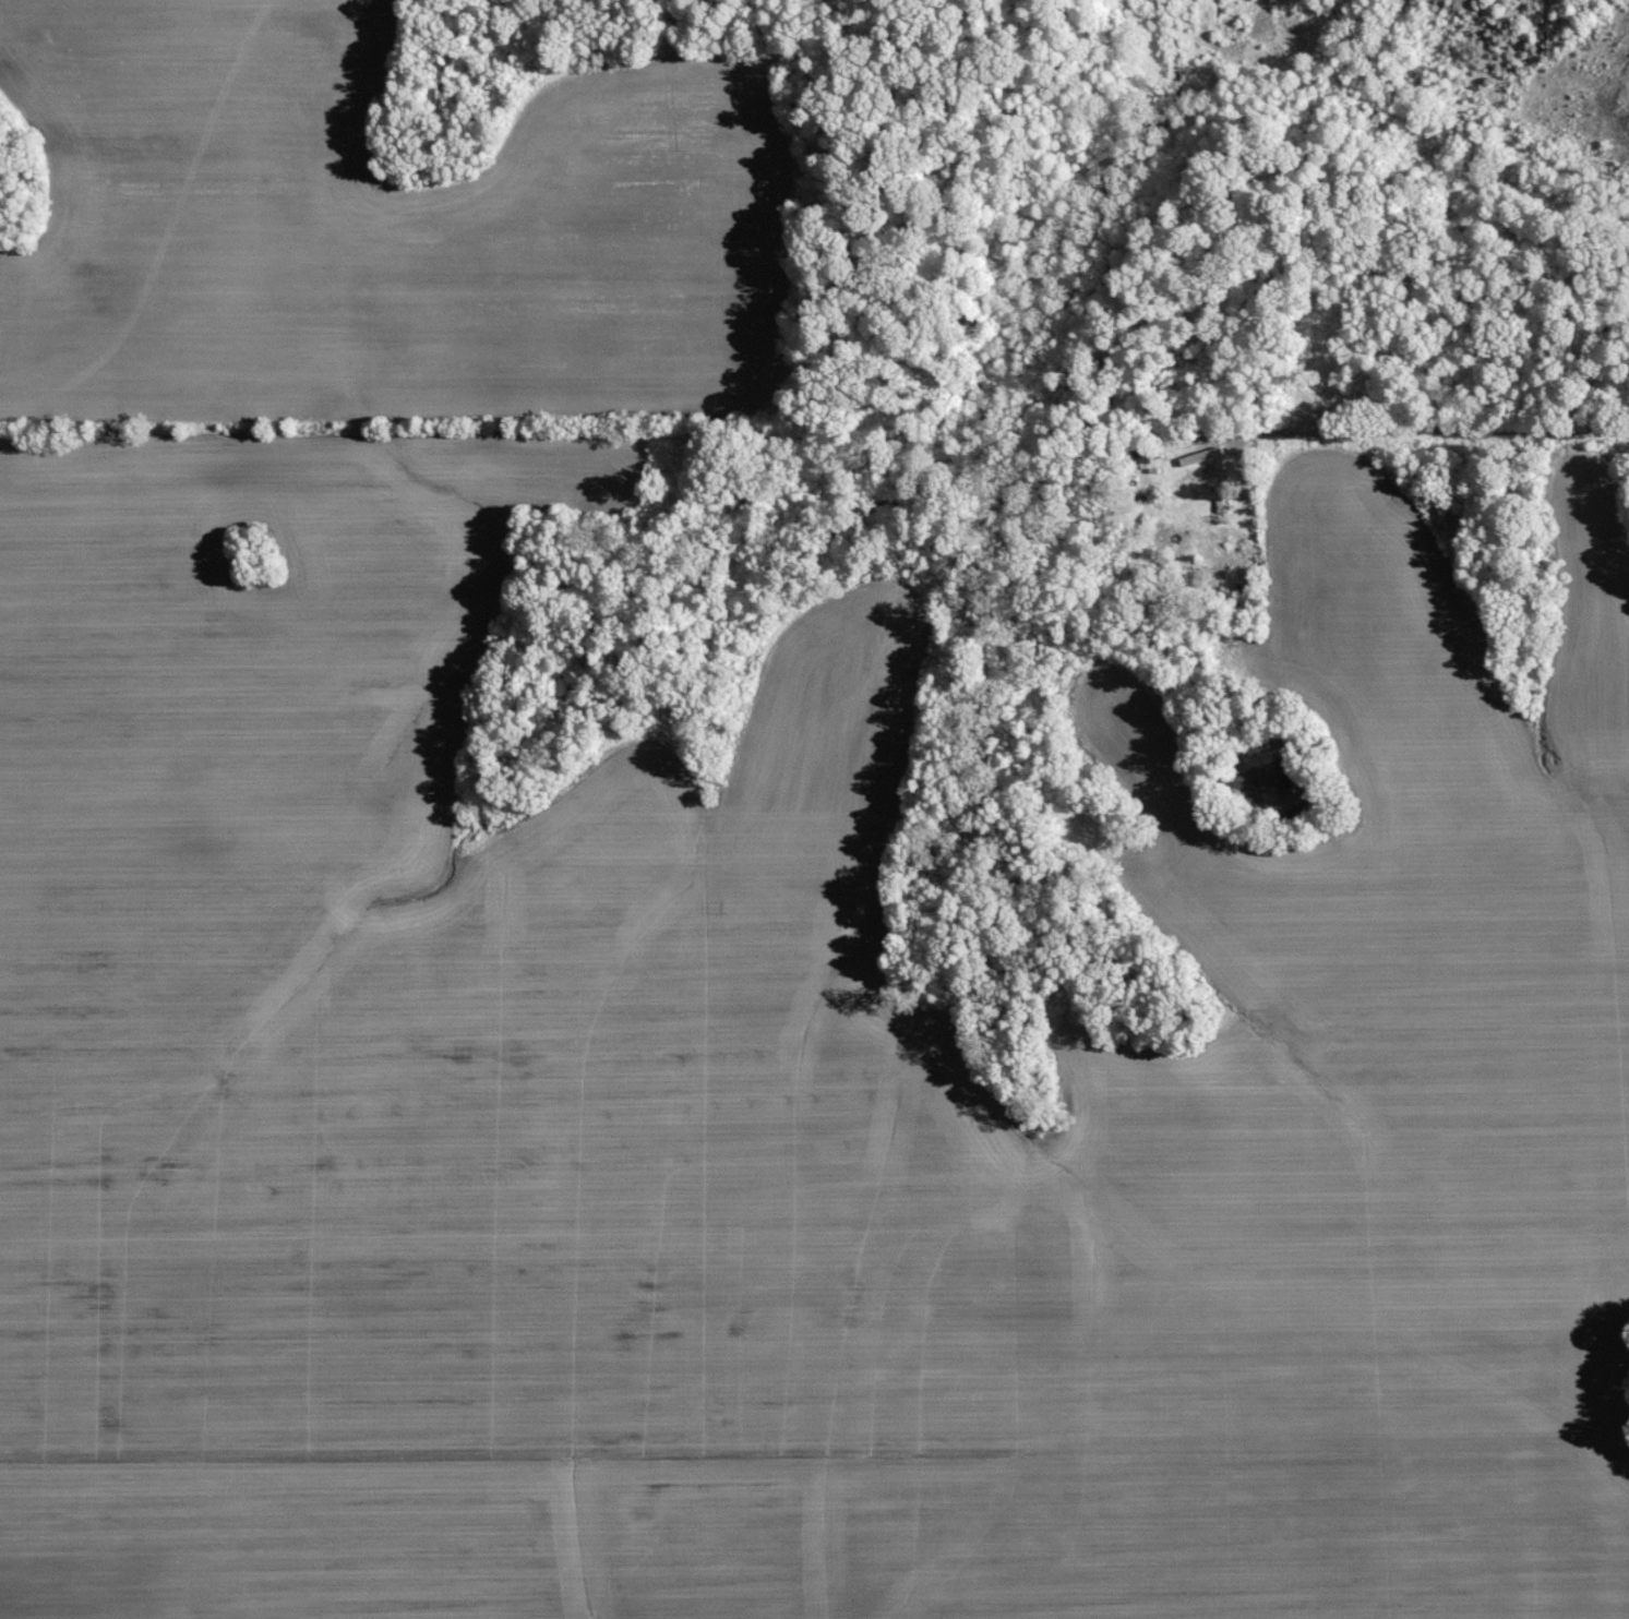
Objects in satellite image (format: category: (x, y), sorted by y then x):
road: (1389, 431)

